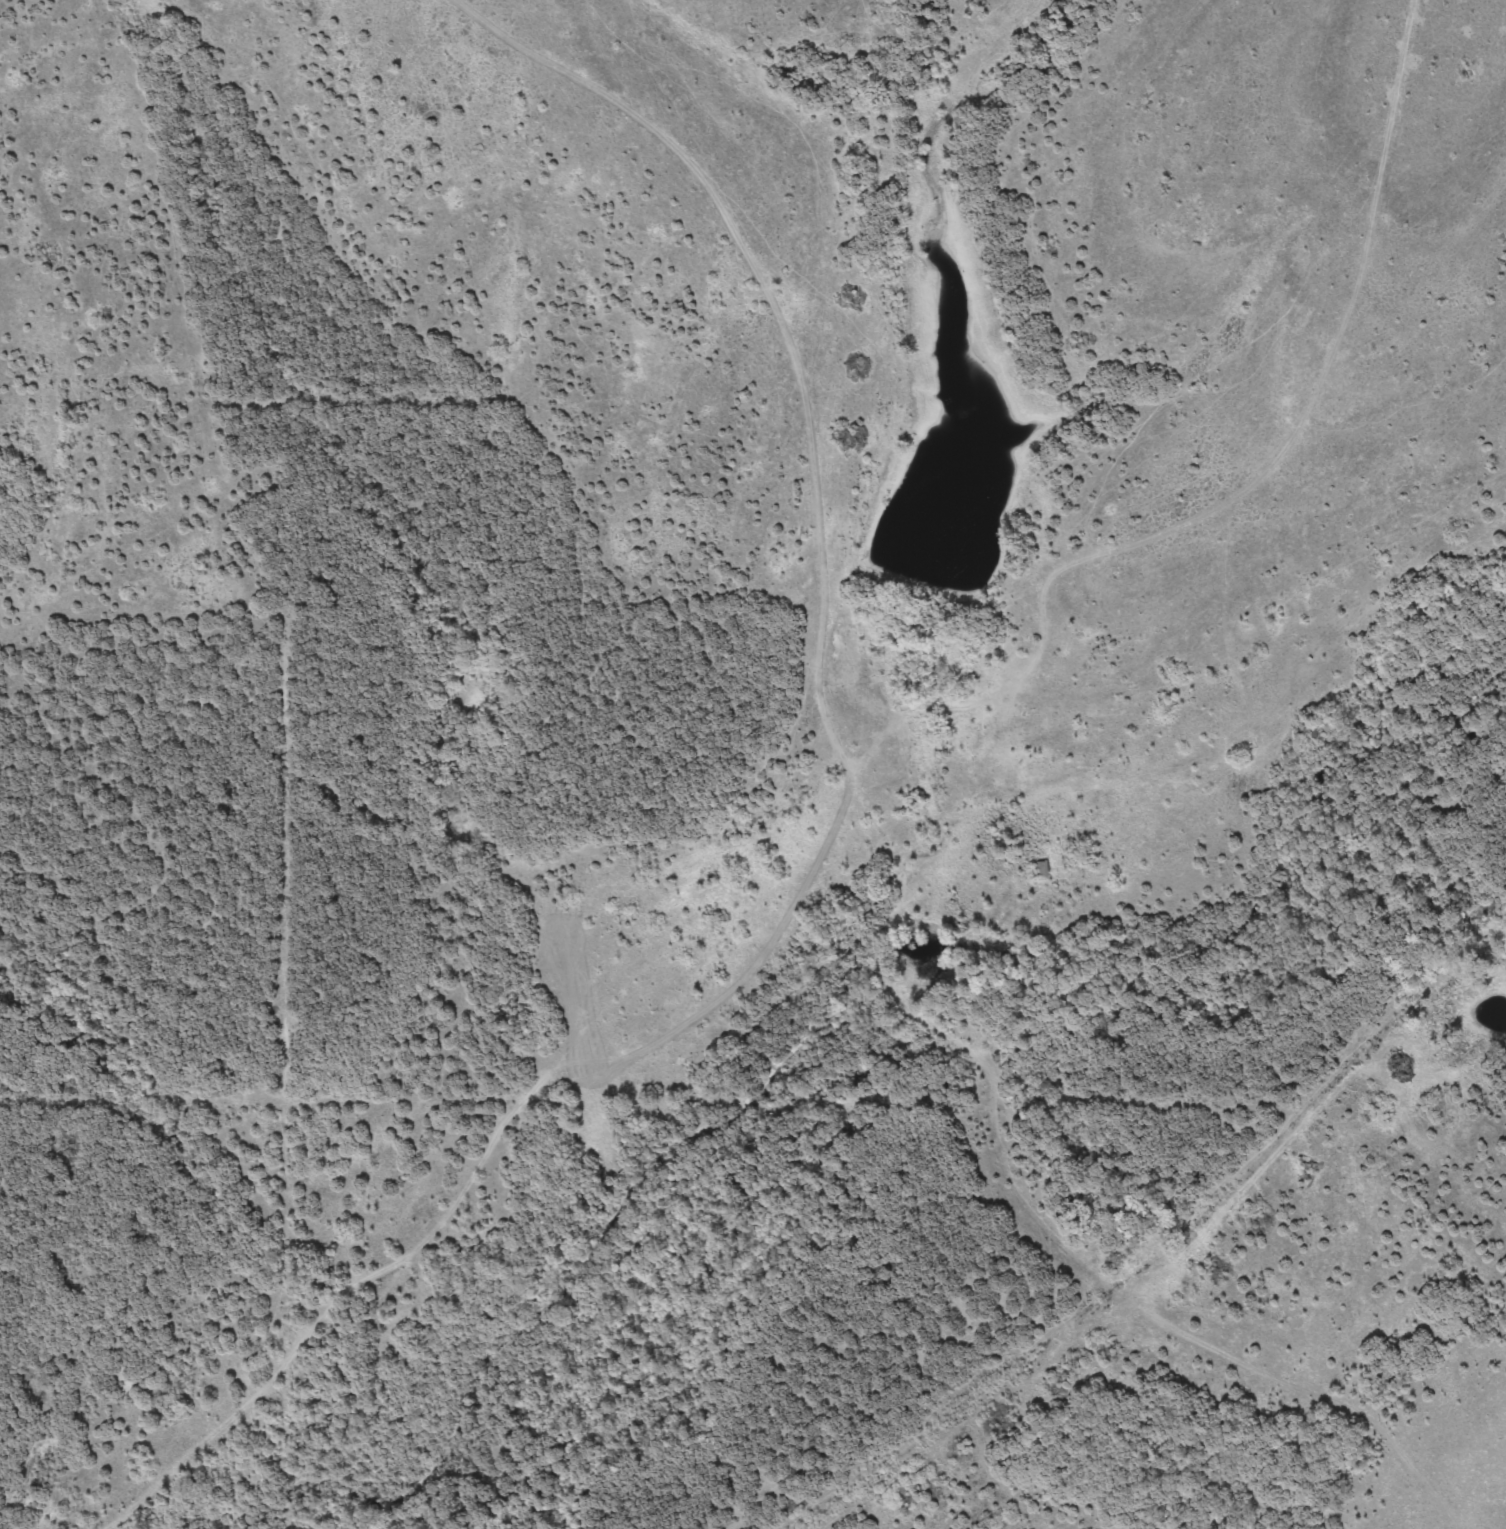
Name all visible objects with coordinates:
building: (1041, 868)

